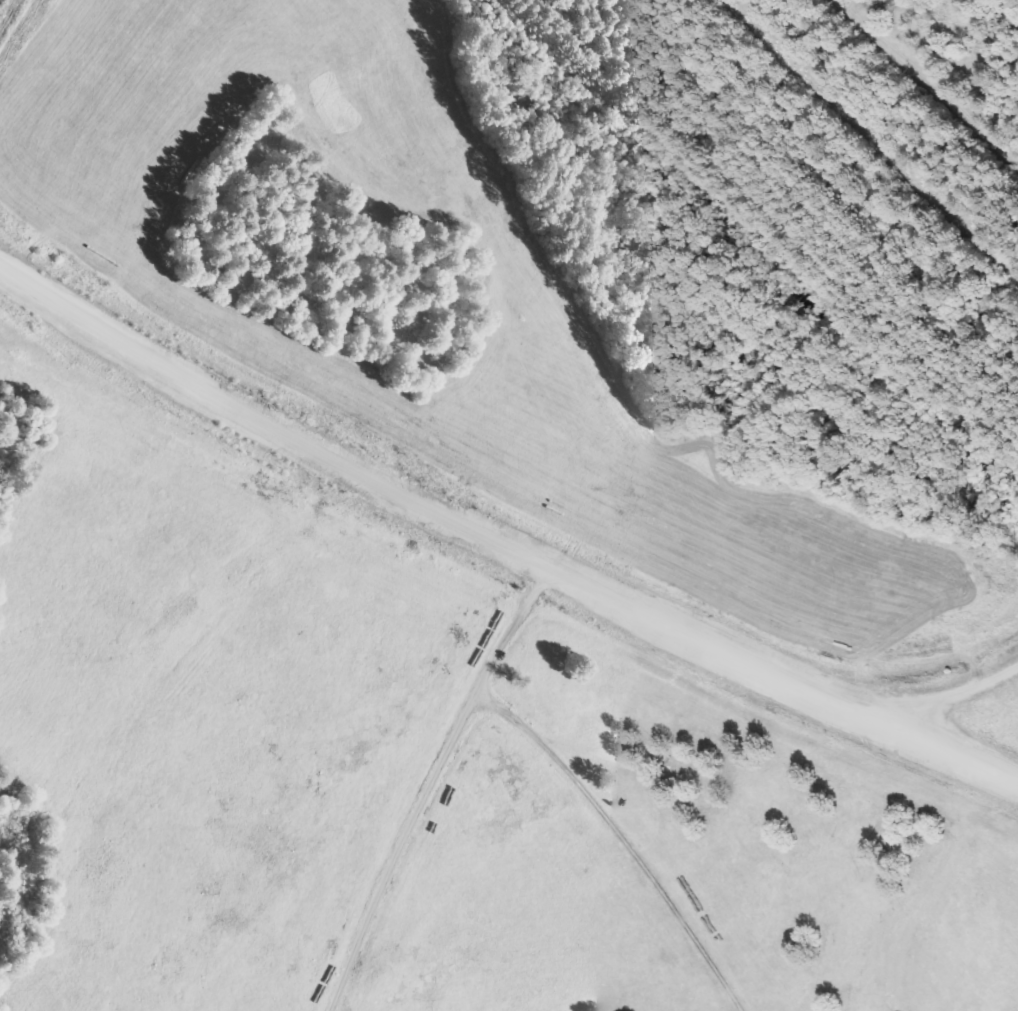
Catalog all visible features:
road: (498, 542)
road: (431, 785)

